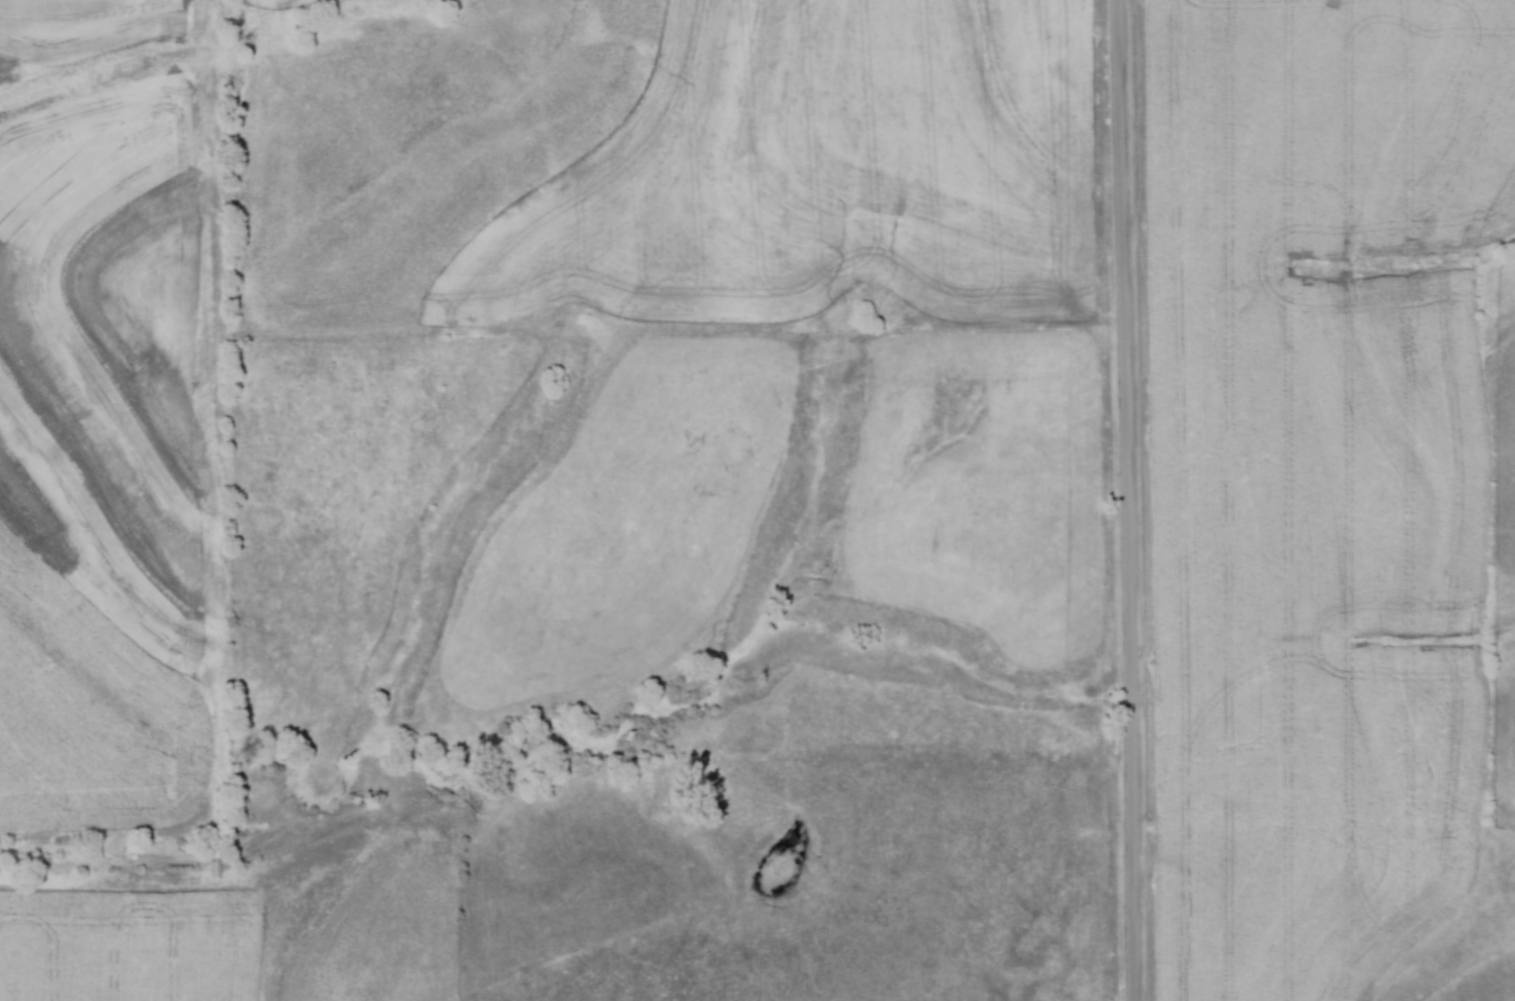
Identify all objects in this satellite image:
road: (1128, 500)

